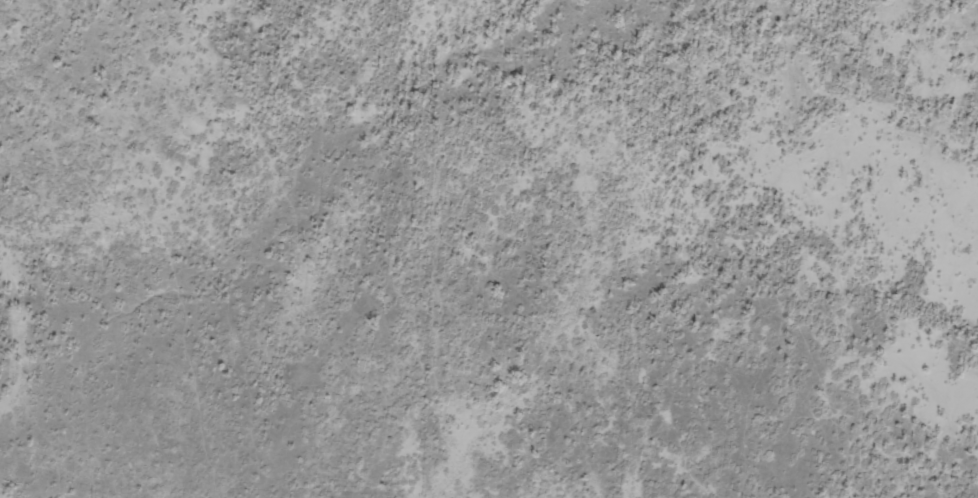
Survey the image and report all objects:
road: (412, 249)

